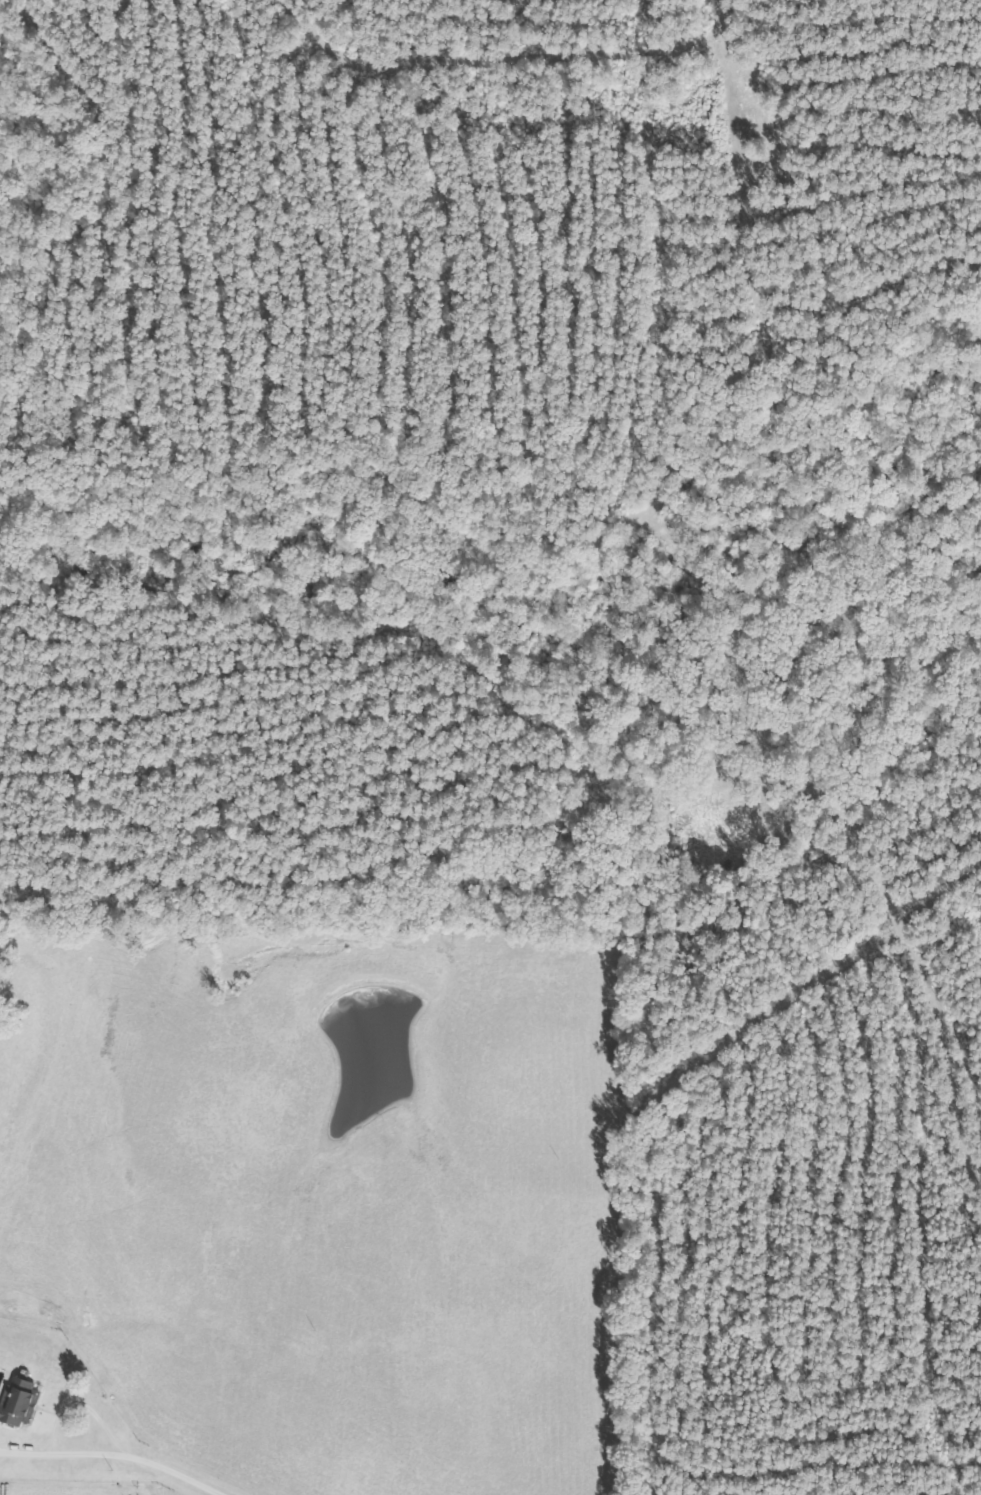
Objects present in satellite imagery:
building: (21, 1402)
road: (117, 1452)

